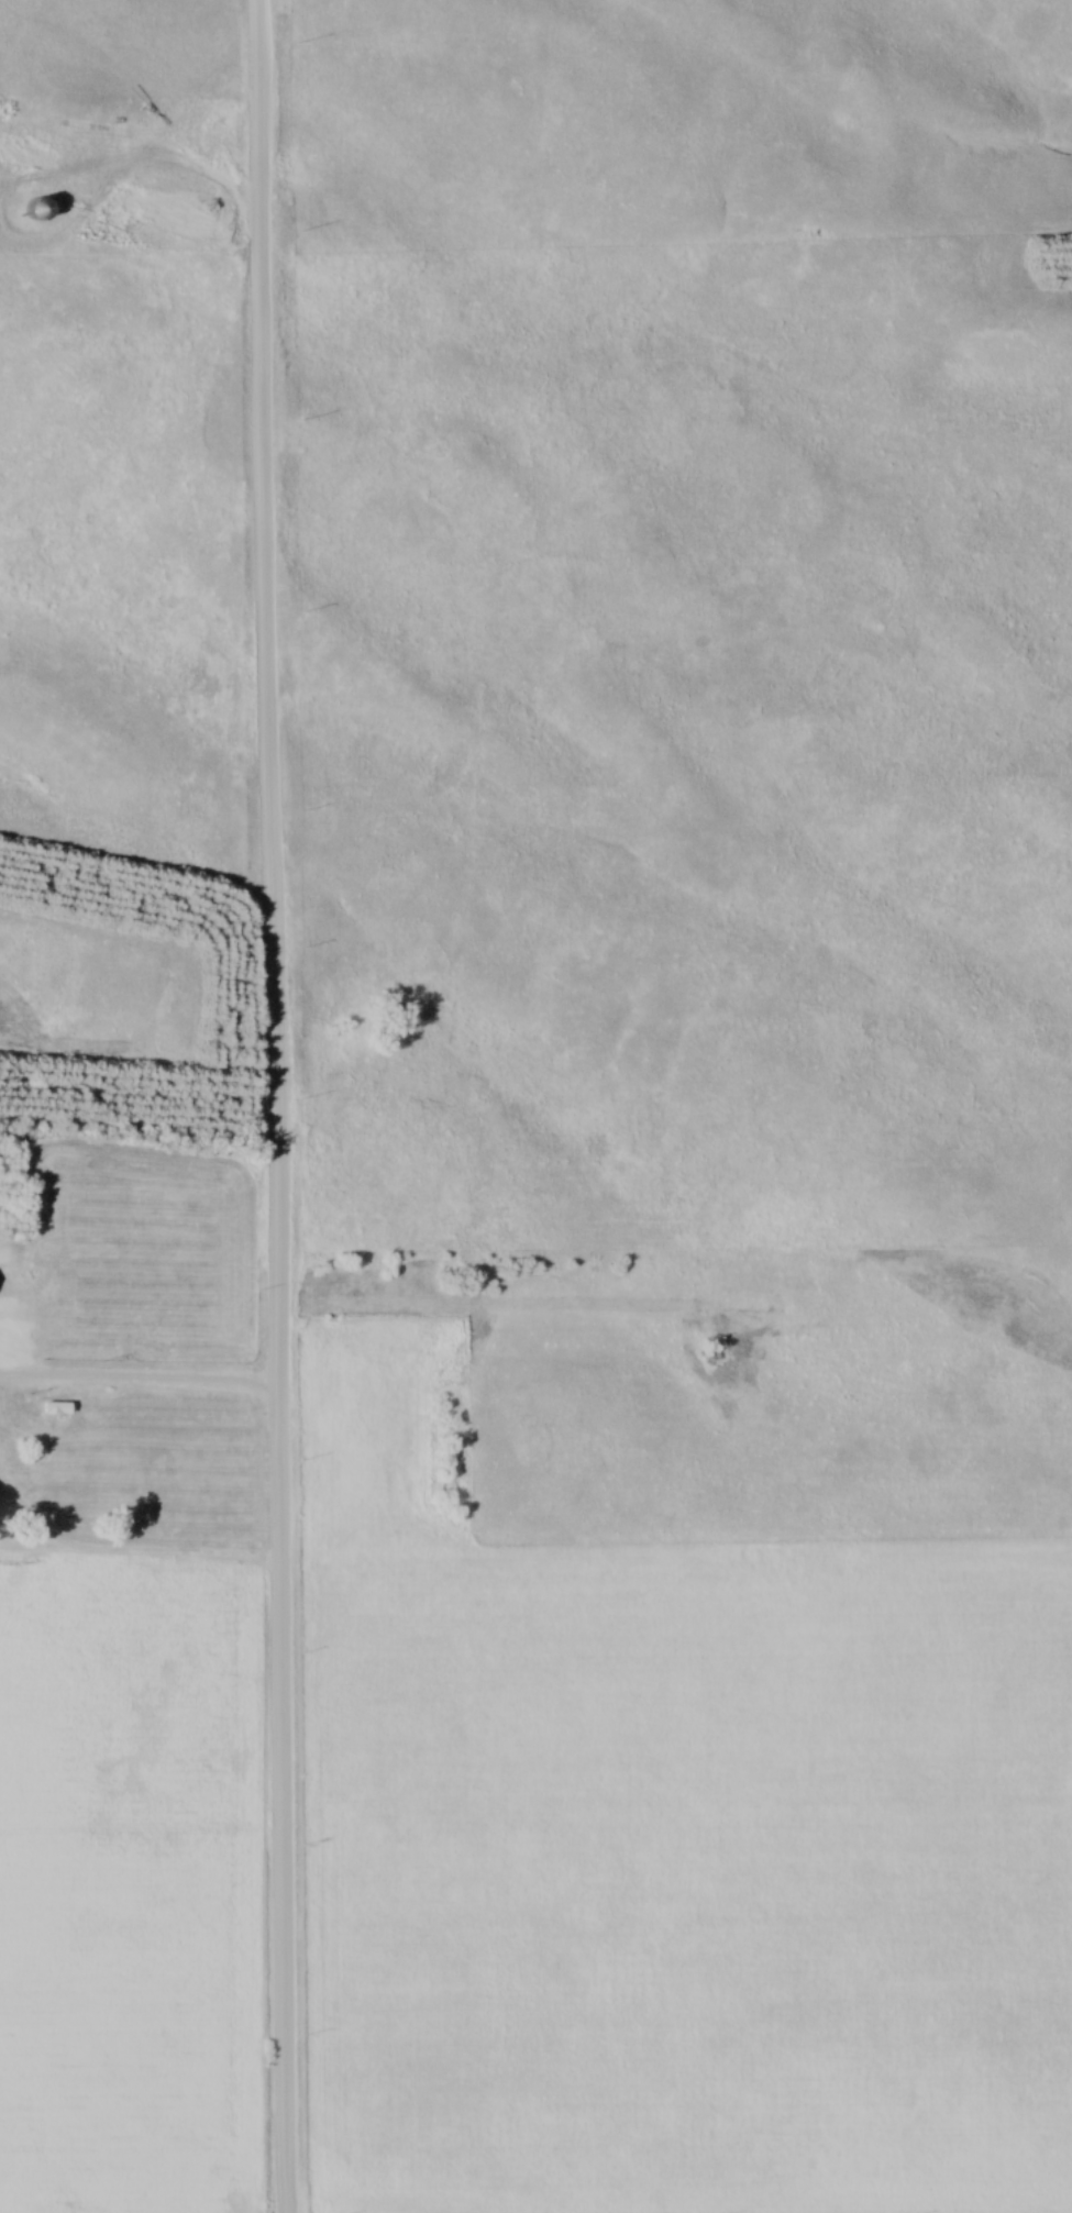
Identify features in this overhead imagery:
road: (283, 1106)
road: (143, 1376)
building: (54, 1427)
road: (125, 1553)

